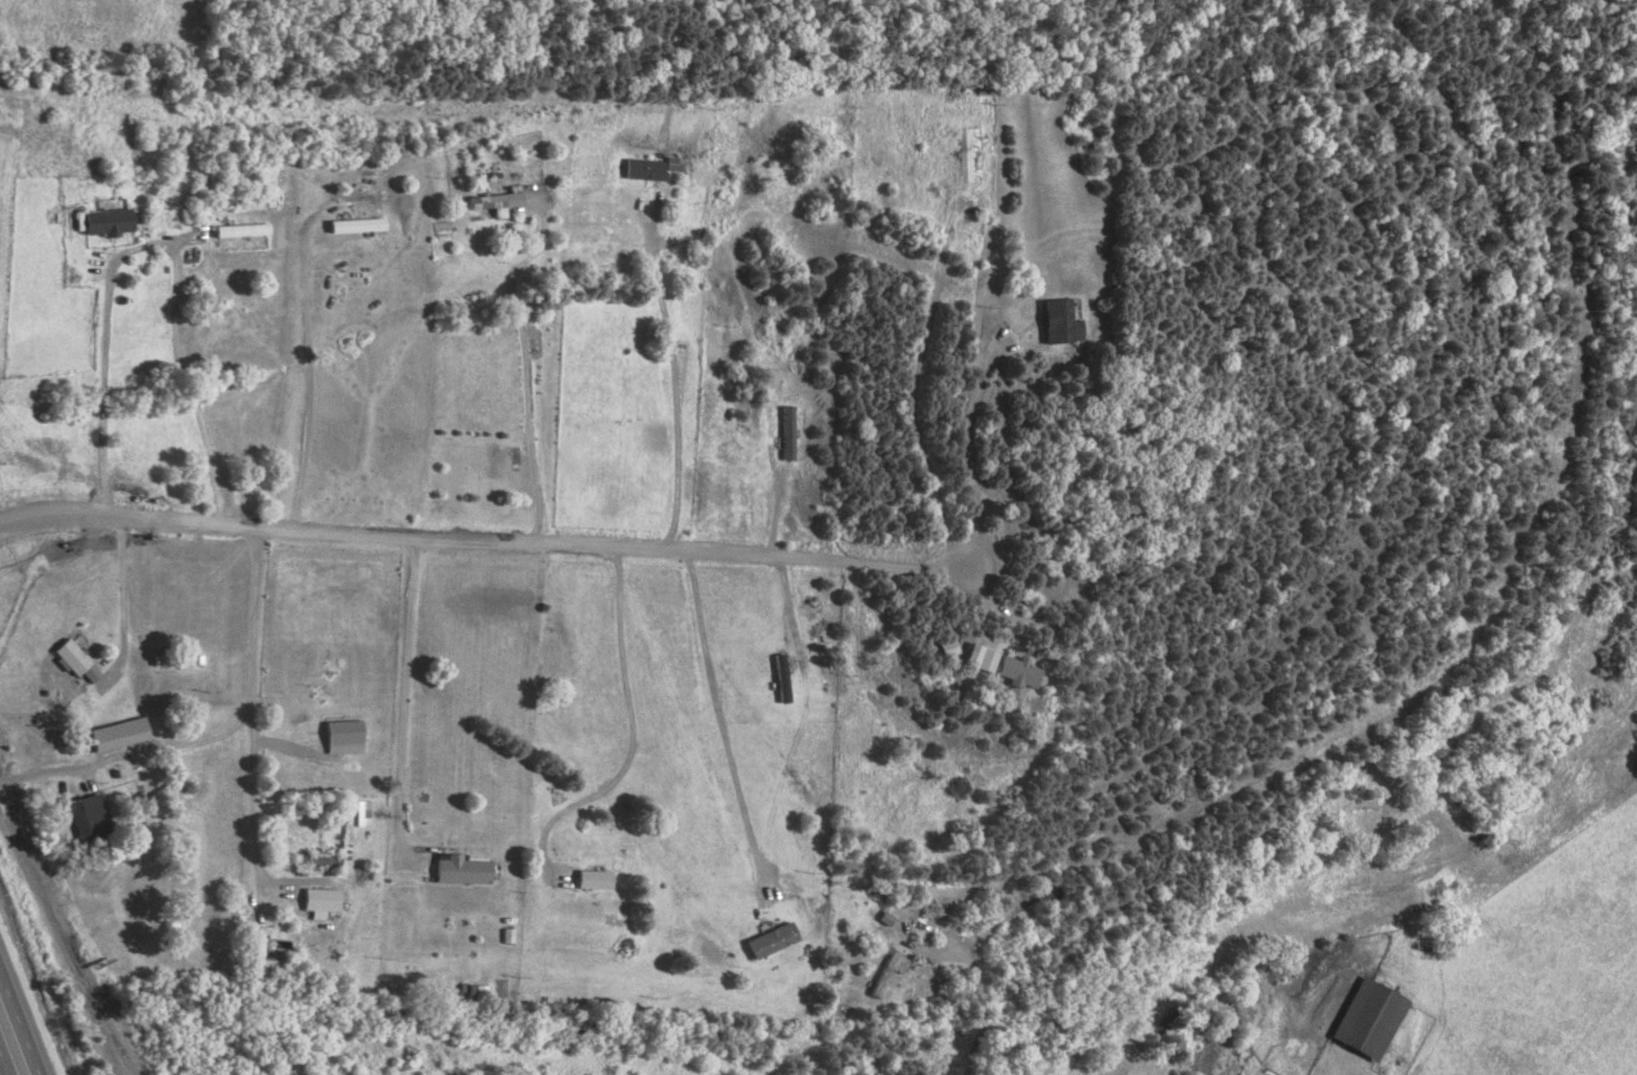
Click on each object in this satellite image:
building: (674, 164)
building: (645, 169)
building: (496, 203)
building: (107, 223)
building: (356, 225)
building: (241, 230)
road: (153, 247)
building: (1061, 322)
road: (526, 371)
road: (673, 371)
road: (308, 372)
road: (914, 380)
building: (788, 433)
road: (963, 434)
road: (491, 540)
road: (122, 587)
road: (791, 618)
building: (981, 659)
building: (75, 661)
building: (1016, 672)
building: (783, 673)
road: (405, 706)
road: (721, 725)
building: (120, 734)
road: (633, 734)
road: (218, 736)
road: (253, 804)
building: (89, 815)
building: (462, 869)
building: (594, 879)
building: (322, 902)
building: (770, 940)
building: (263, 969)
building: (884, 972)
building: (1368, 1019)
road: (18, 1030)
road: (1, 1069)

